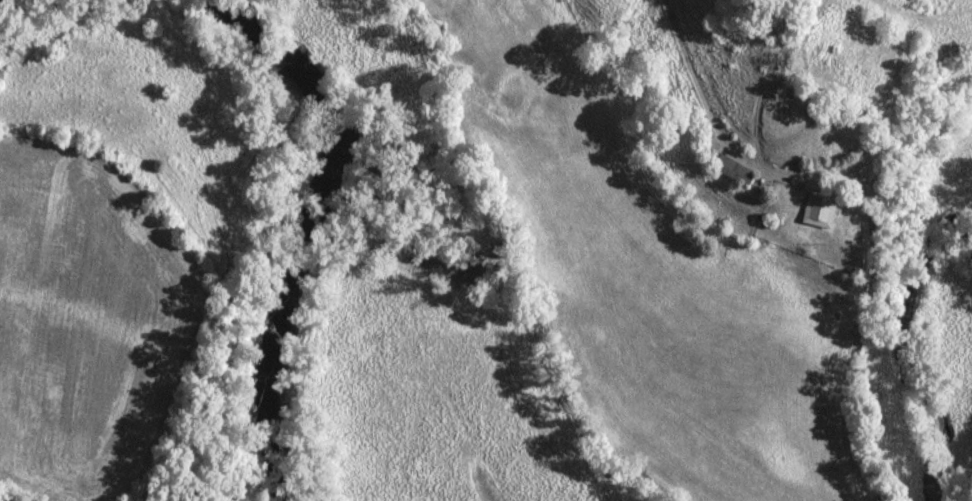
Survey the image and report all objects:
building: (725, 168)
road: (866, 190)
building: (818, 210)

